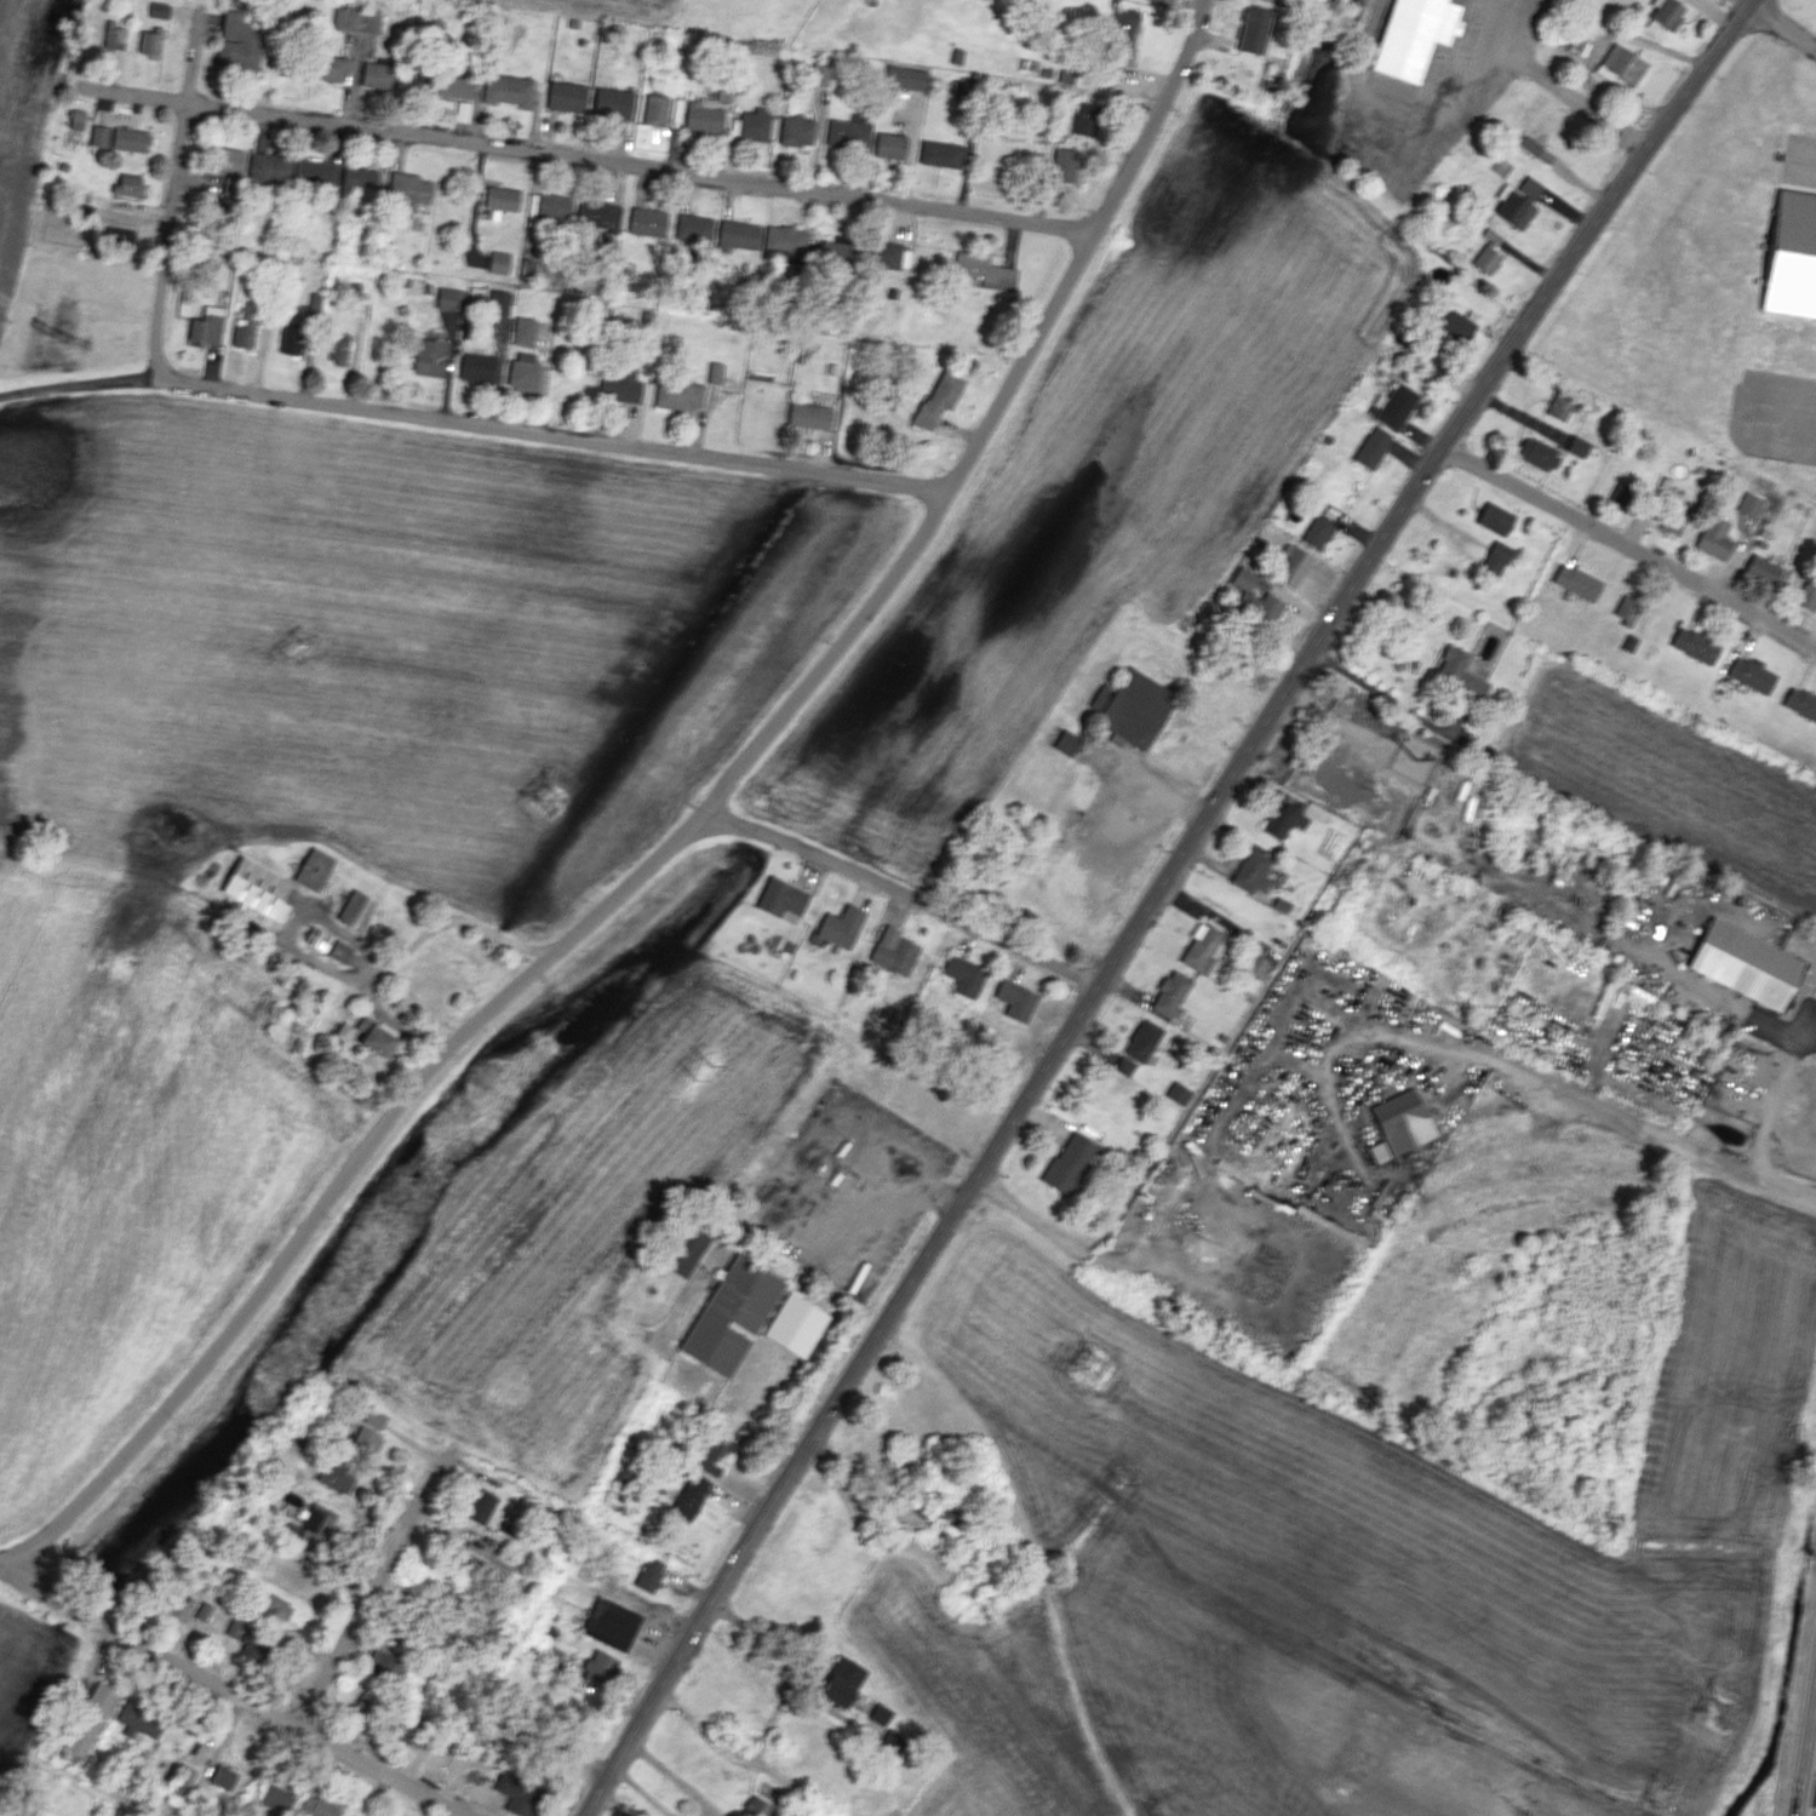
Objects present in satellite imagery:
crop: (608, 7)
road: (1783, 23)
building: (1413, 34)
road: (1598, 115)
crop: (25, 120)
road: (1810, 161)
road: (596, 164)
road: (172, 219)
building: (1791, 256)
road: (1434, 366)
road: (74, 386)
road: (212, 391)
road: (613, 445)
road: (1628, 544)
power tower: (291, 646)
road: (1386, 695)
power tower: (546, 798)
crop: (308, 802)
road: (678, 838)
road: (900, 898)
road: (1151, 898)
road: (406, 949)
power tower: (697, 1066)
road: (1662, 1124)
road: (806, 1203)
road: (1113, 1259)
power tower: (1089, 1367)
power tower: (1105, 1503)
road: (367, 1604)
road: (240, 1695)
power tower: (1719, 1714)
road: (772, 1718)
road: (670, 1775)
road: (641, 1791)
power tower: (1661, 1797)
road: (1814, 1804)

